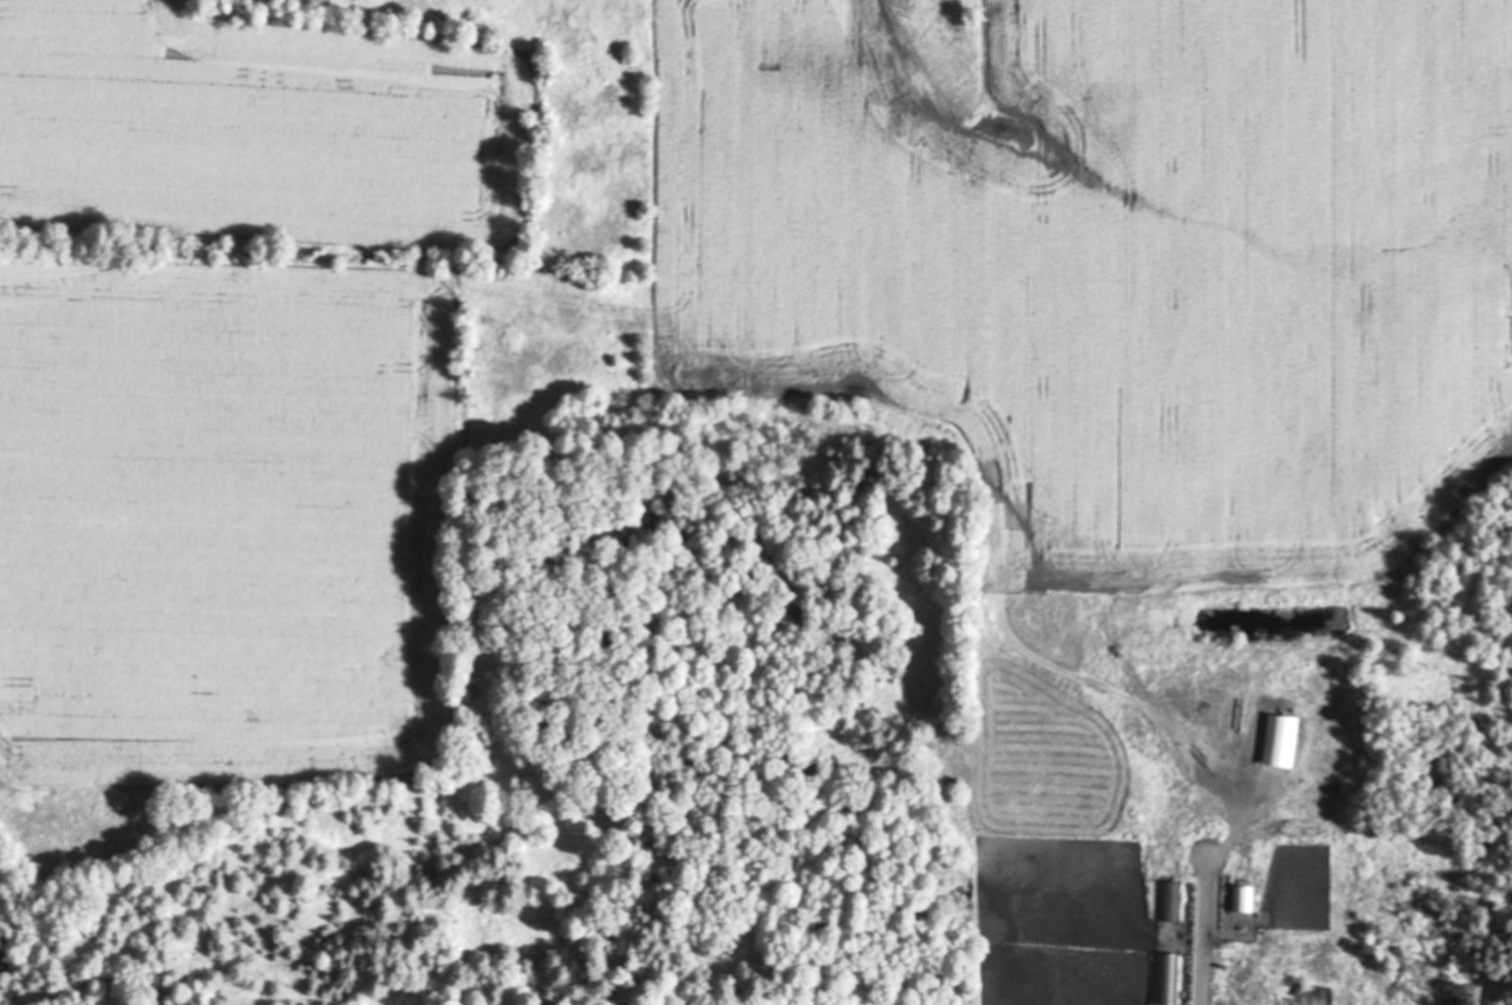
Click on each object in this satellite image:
building: (1280, 742)
building: (1243, 743)
building: (1242, 899)
building: (1169, 902)
building: (1166, 979)
building: (1307, 992)

